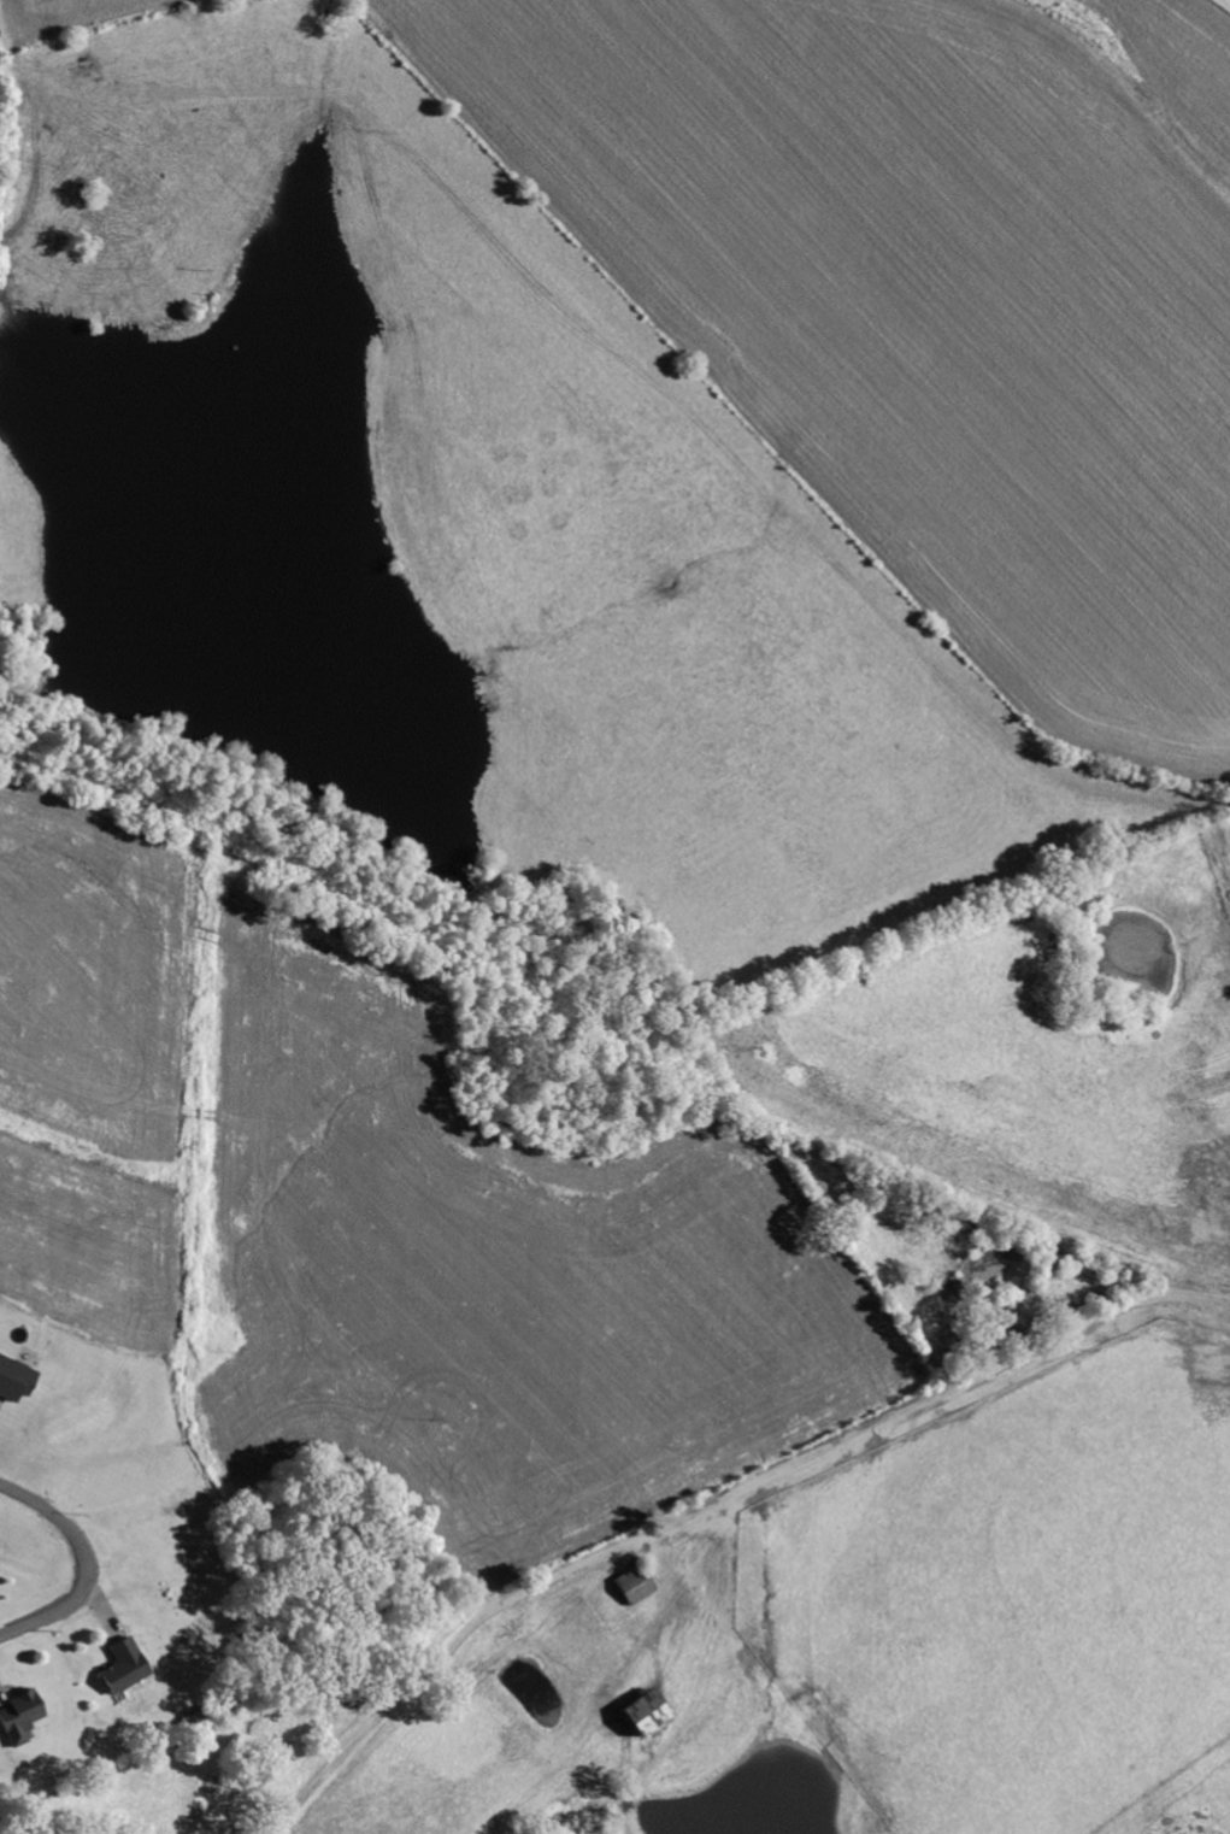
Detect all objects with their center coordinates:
road: (966, 1336)
building: (13, 1380)
road: (80, 1565)
road: (426, 1606)
building: (118, 1667)
building: (635, 1714)
building: (17, 1717)

